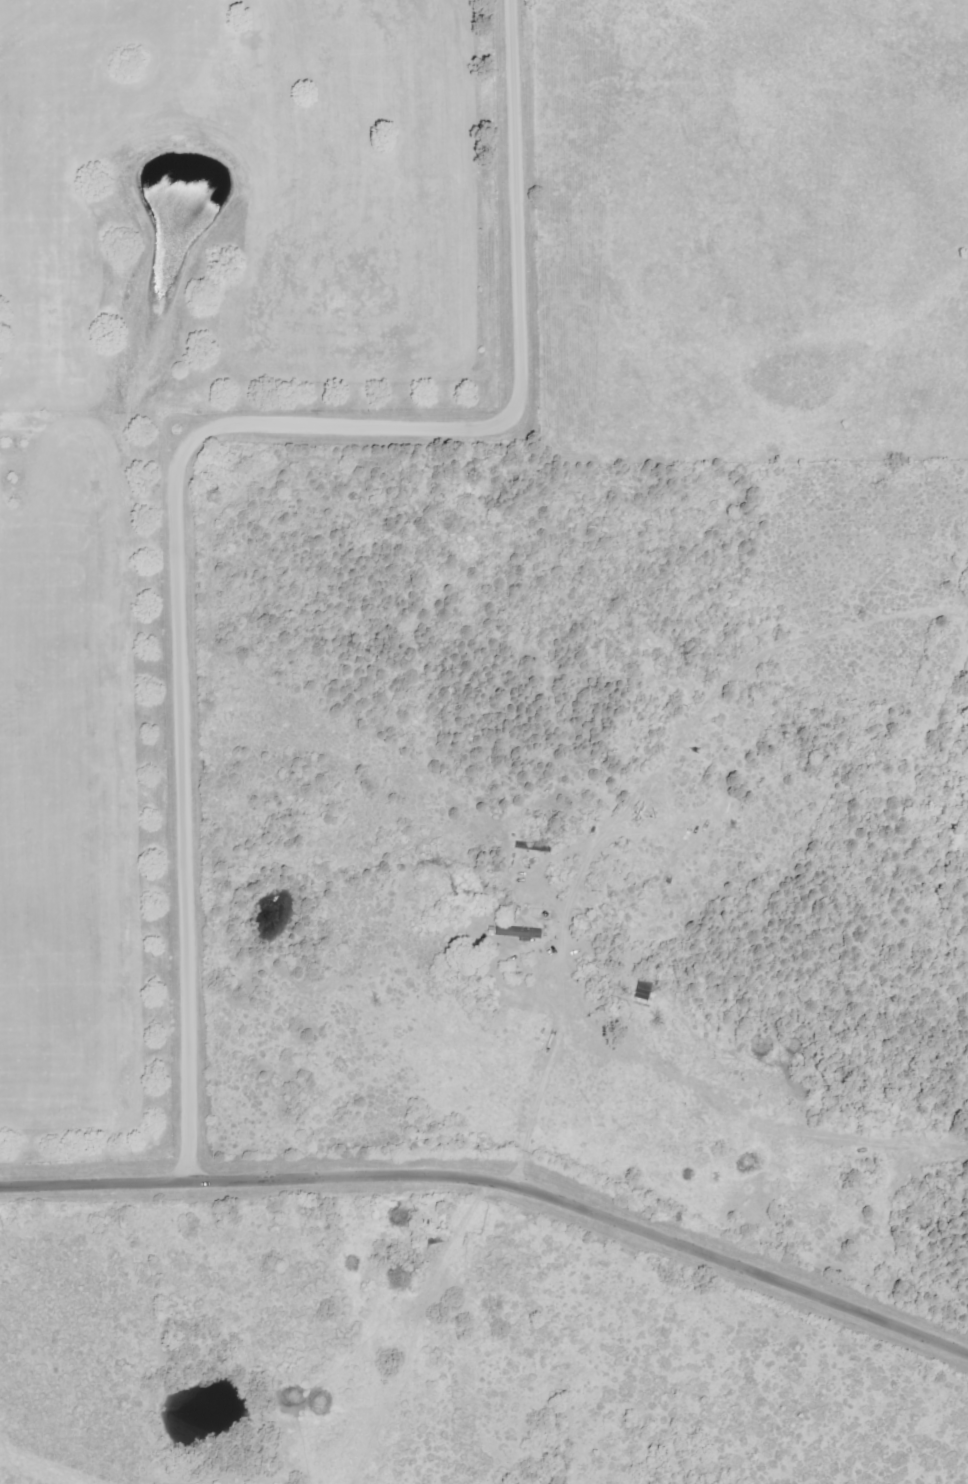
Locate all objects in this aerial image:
road: (192, 441)
building: (521, 932)
building: (645, 991)
road: (535, 1106)
road: (499, 1179)

